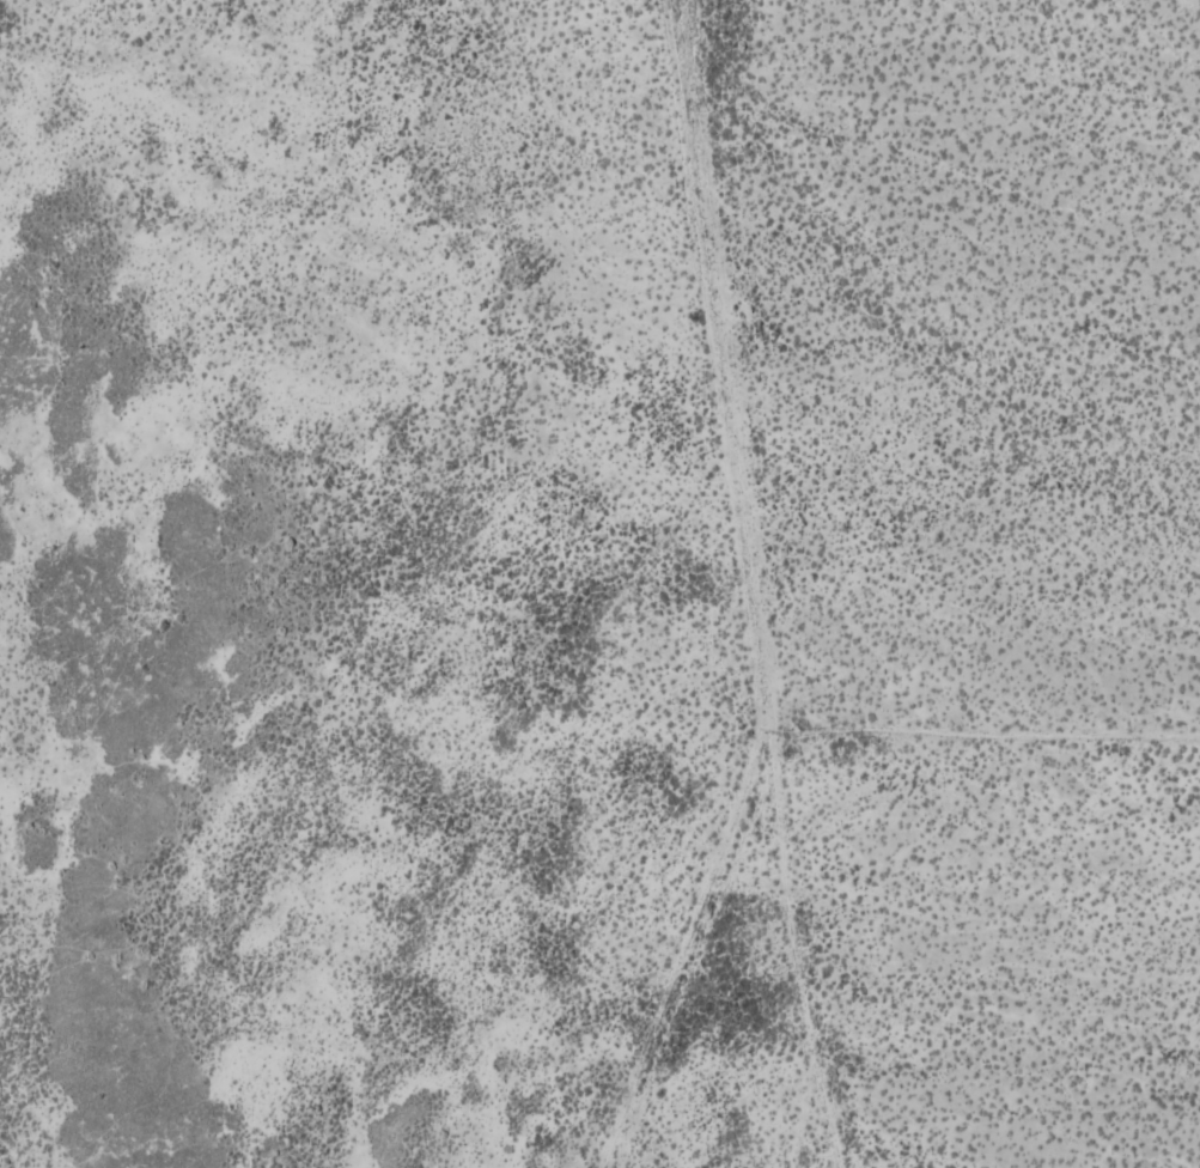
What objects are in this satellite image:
road: (524, 1035)

